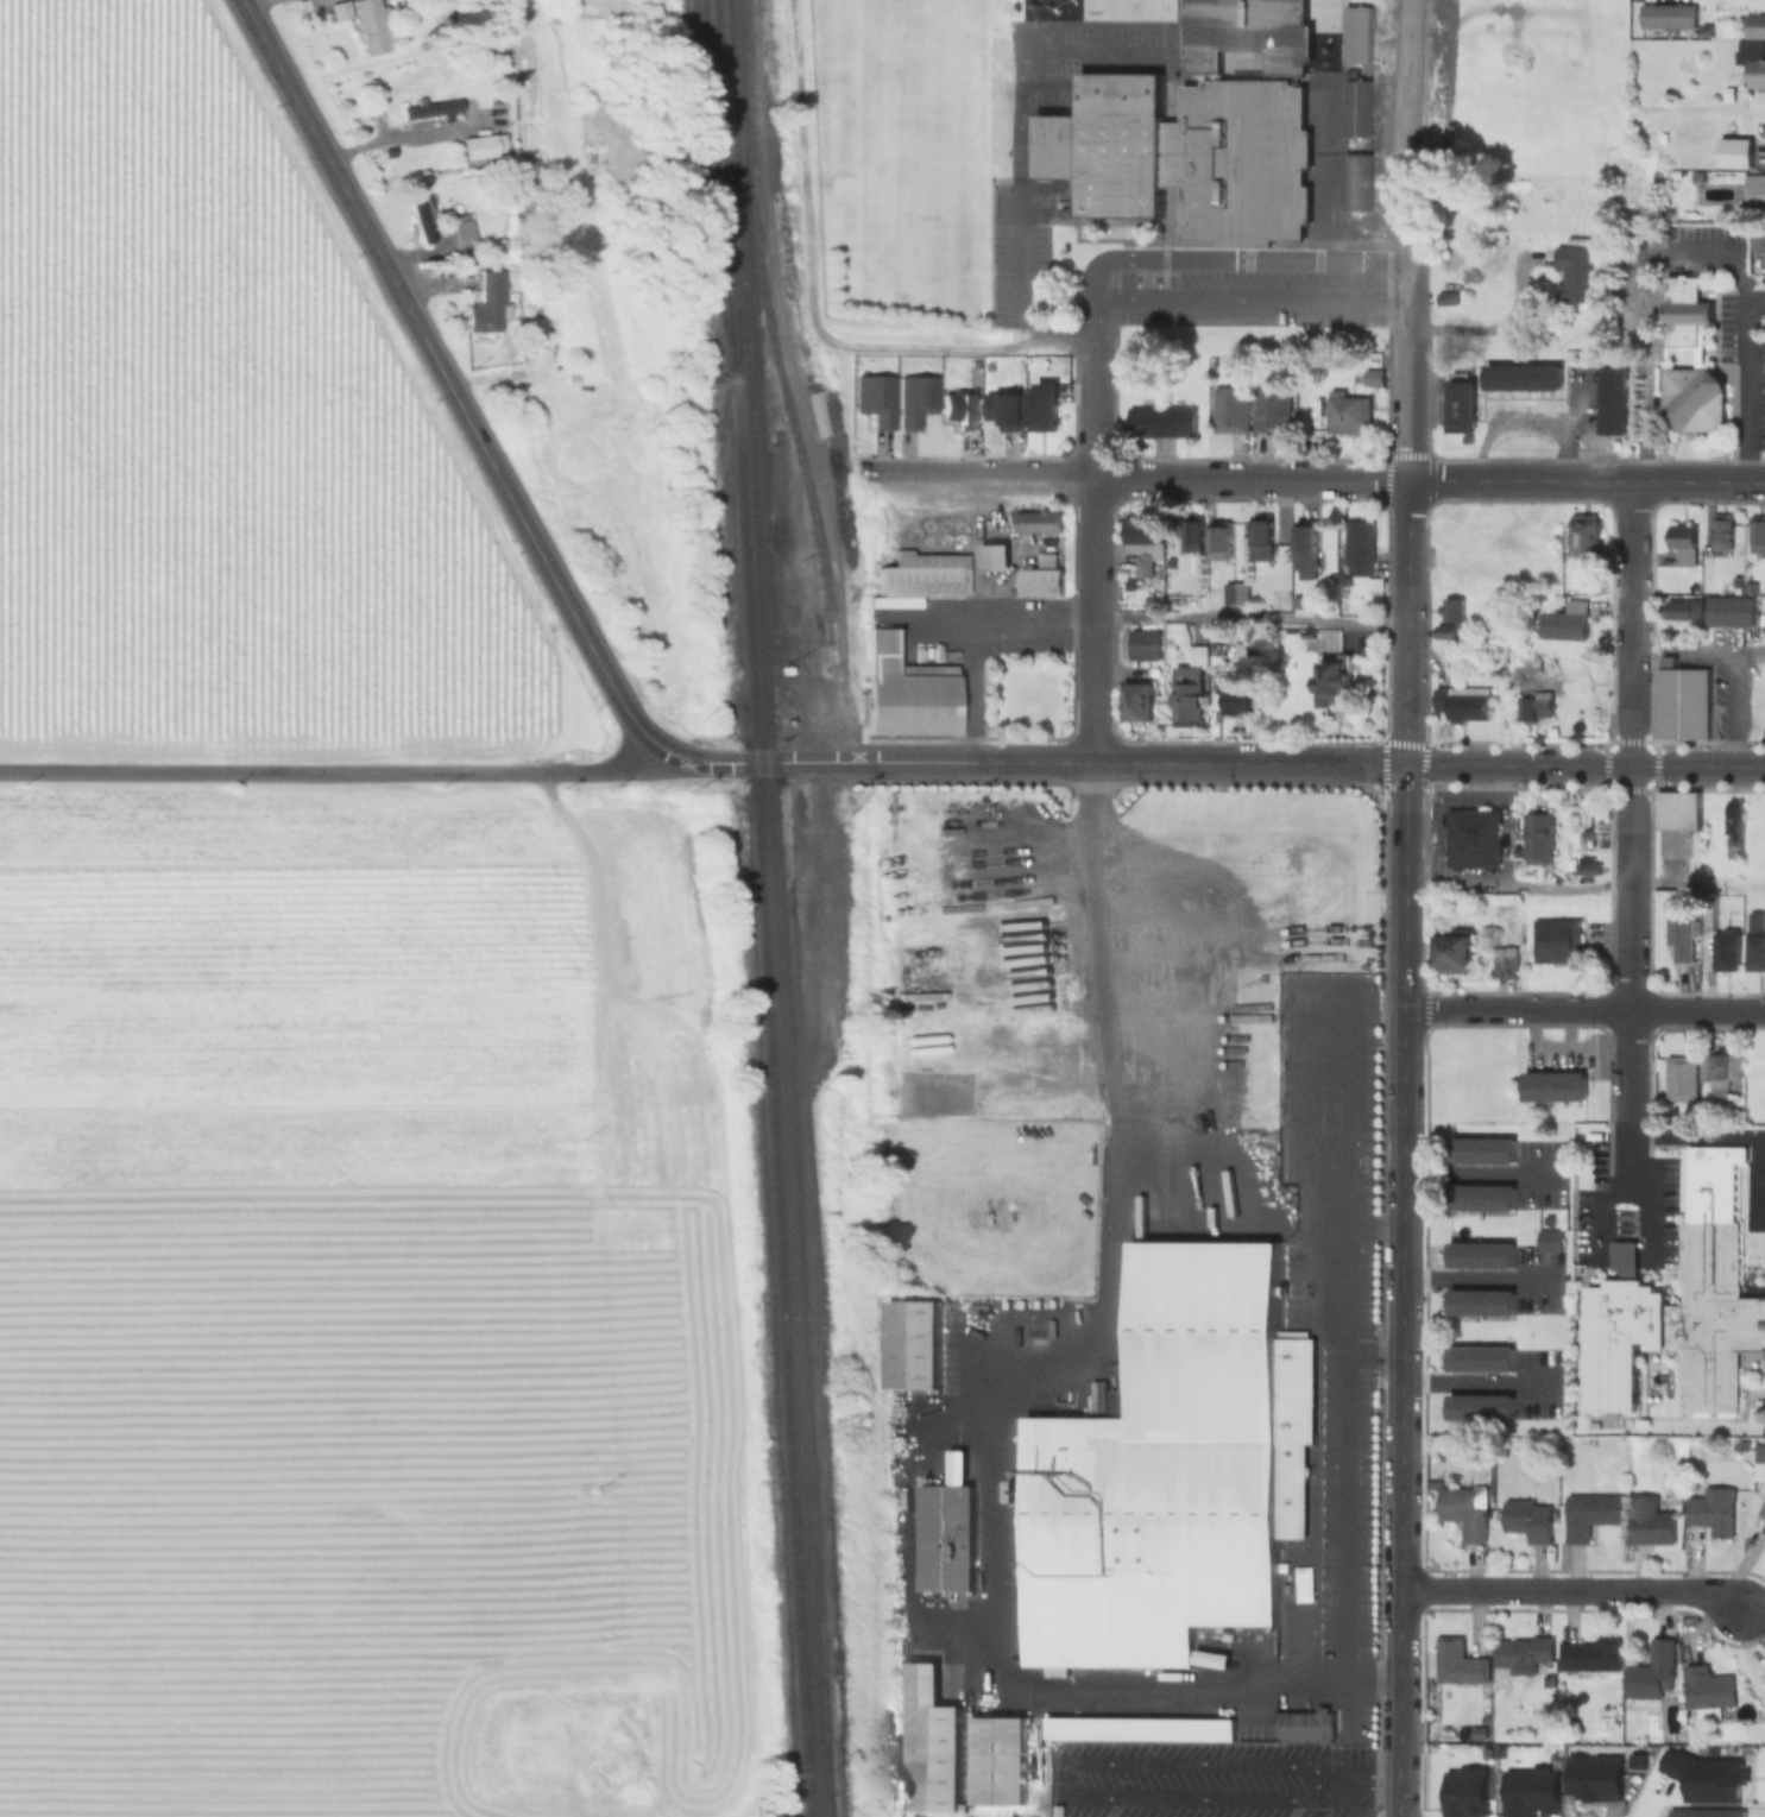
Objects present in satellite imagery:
building: (1665, 15)
building: (1754, 26)
building: (370, 27)
building: (1244, 32)
building: (1706, 32)
building: (1356, 36)
building: (1755, 75)
parking lot: (1436, 89)
building: (1728, 93)
building: (1356, 109)
building: (429, 111)
road: (1411, 131)
building: (481, 147)
building: (1735, 153)
building: (1186, 156)
park: (901, 159)
road: (1326, 171)
building: (1355, 182)
railway: (710, 185)
building: (1754, 189)
building: (418, 215)
building: (461, 232)
building: (1757, 240)
road: (1728, 247)
road: (1215, 259)
building: (1571, 275)
road: (1020, 289)
parking lot: (1229, 289)
road: (808, 290)
building: (1446, 297)
parking lot: (1726, 297)
road: (1250, 299)
building: (484, 304)
building: (1684, 310)
railway: (768, 320)
road: (1483, 323)
road: (1646, 354)
road: (1408, 370)
building: (1523, 376)
road: (446, 377)
building: (1373, 378)
road: (1746, 383)
building: (872, 398)
building: (914, 398)
building: (1615, 398)
building: (1692, 398)
building: (1042, 405)
building: (1461, 405)
building: (959, 408)
building: (1230, 408)
building: (1003, 409)
building: (1271, 409)
building: (1347, 412)
building: (1161, 418)
road: (1570, 421)
road: (1524, 423)
railway: (748, 443)
crop: (232, 456)
road: (975, 475)
road: (1249, 478)
road: (1586, 480)
building: (1038, 519)
building: (1141, 528)
building: (1721, 531)
building: (1193, 532)
building: (1755, 532)
building: (1218, 535)
building: (1583, 535)
building: (1260, 536)
building: (1305, 544)
building: (1683, 544)
building: (1357, 545)
road: (1092, 554)
building: (994, 556)
building: (1168, 562)
building: (1142, 566)
building: (914, 572)
building: (1040, 578)
building: (1584, 585)
building: (1750, 588)
building: (1234, 594)
building: (1297, 604)
building: (1683, 610)
road: (995, 614)
road: (1249, 619)
building: (1451, 619)
road: (1406, 622)
building: (1564, 622)
parking lot: (1025, 627)
building: (1145, 645)
road: (1696, 650)
building: (1332, 683)
road: (971, 689)
building: (904, 692)
building: (1233, 695)
building: (1187, 698)
building: (1136, 701)
building: (1681, 702)
building: (1462, 704)
building: (1536, 706)
road: (1731, 708)
road: (826, 718)
flagpole: (1716, 738)
road: (761, 763)
road: (1135, 763)
road: (1583, 765)
road: (330, 770)
building: (1677, 810)
building: (1733, 822)
road: (1628, 831)
building: (1471, 837)
building: (1537, 837)
building: (1588, 869)
road: (1583, 884)
railway: (758, 908)
building: (1709, 920)
building: (1679, 930)
building: (1555, 939)
building: (1755, 941)
building: (1452, 949)
building: (1725, 949)
building: (1501, 961)
road: (1583, 1009)
building: (1716, 1071)
building: (1679, 1077)
building: (1261, 1080)
building: (1555, 1086)
road: (1697, 1137)
building: (1481, 1150)
road: (1479, 1174)
road: (1400, 1176)
road: (1627, 1181)
building: (1480, 1198)
parking lot: (1753, 1200)
parking lot: (1627, 1225)
road: (1369, 1231)
building: (1550, 1241)
building: (1481, 1254)
road: (1625, 1255)
road: (1477, 1277)
building: (1480, 1301)
building: (1679, 1307)
crop: (364, 1310)
building: (1126, 1324)
building: (912, 1345)
road: (1341, 1349)
railway: (794, 1352)
building: (1124, 1357)
building: (1480, 1358)
road: (1369, 1361)
road: (1479, 1384)
road: (1019, 1389)
building: (1480, 1407)
building: (1020, 1450)
building: (1019, 1463)
building: (1171, 1469)
building: (1465, 1510)
building: (1712, 1510)
building: (1763, 1510)
building: (1589, 1514)
building: (1021, 1519)
building: (1526, 1520)
building: (1649, 1521)
road: (906, 1526)
building: (1019, 1532)
building: (946, 1537)
road: (1569, 1590)
building: (1297, 1610)
building: (1020, 1615)
building: (1020, 1634)
building: (1521, 1654)
building: (1590, 1655)
road: (1397, 1664)
building: (1458, 1664)
building: (1652, 1671)
building: (1764, 1680)
building: (1707, 1686)
building: (1306, 1725)
building: (1256, 1734)
building: (931, 1743)
road: (1074, 1769)
building: (998, 1774)
road: (1395, 1778)
building: (1706, 1780)
building: (1595, 1781)
building: (1464, 1793)
building: (1532, 1793)

